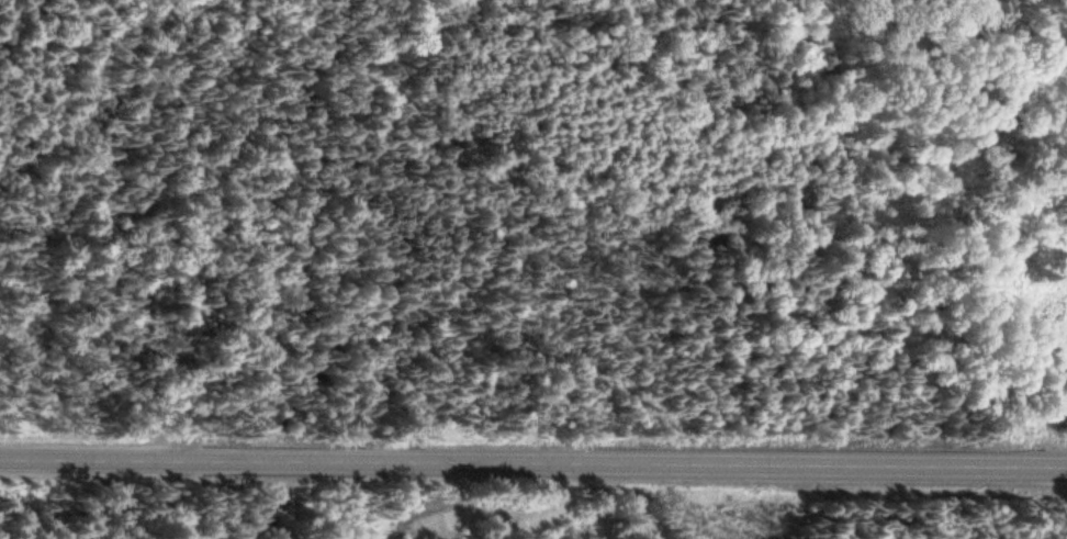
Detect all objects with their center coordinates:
road: (533, 463)
building: (501, 526)

